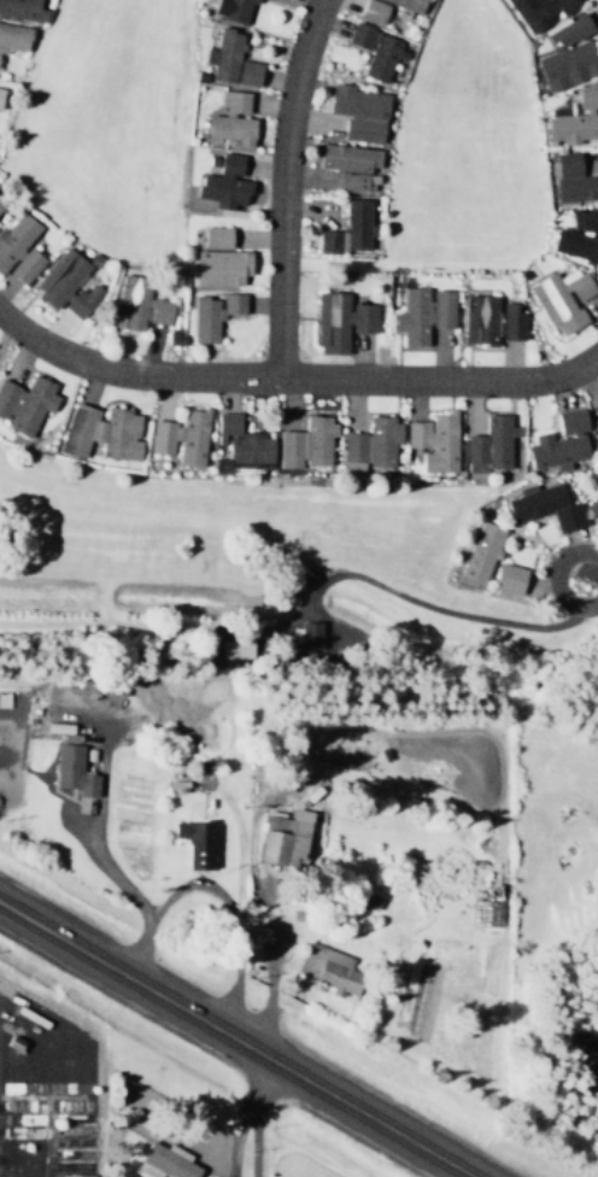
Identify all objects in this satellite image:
building: (408, 5)
road: (316, 8)
road: (318, 8)
building: (22, 10)
building: (231, 10)
building: (371, 11)
building: (538, 11)
building: (13, 36)
building: (373, 49)
building: (567, 54)
building: (229, 59)
building: (0, 92)
building: (358, 111)
building: (576, 117)
building: (230, 119)
building: (348, 157)
building: (571, 177)
building: (357, 182)
building: (223, 183)
road: (282, 197)
building: (0, 203)
building: (584, 219)
building: (347, 229)
building: (215, 236)
building: (574, 244)
building: (18, 248)
building: (219, 267)
building: (58, 276)
building: (561, 299)
building: (80, 300)
building: (137, 304)
building: (212, 314)
building: (421, 314)
building: (479, 318)
building: (339, 321)
building: (510, 321)
road: (294, 380)
building: (24, 403)
building: (594, 406)
building: (100, 432)
building: (180, 438)
building: (559, 440)
building: (240, 441)
building: (432, 441)
building: (305, 443)
building: (369, 444)
building: (488, 444)
building: (544, 505)
building: (593, 505)
building: (480, 552)
building: (508, 578)
road: (555, 581)
building: (304, 634)
building: (234, 649)
building: (71, 771)
building: (283, 838)
building: (195, 843)
building: (327, 968)
road: (236, 1038)
road: (251, 1115)
building: (164, 1161)

